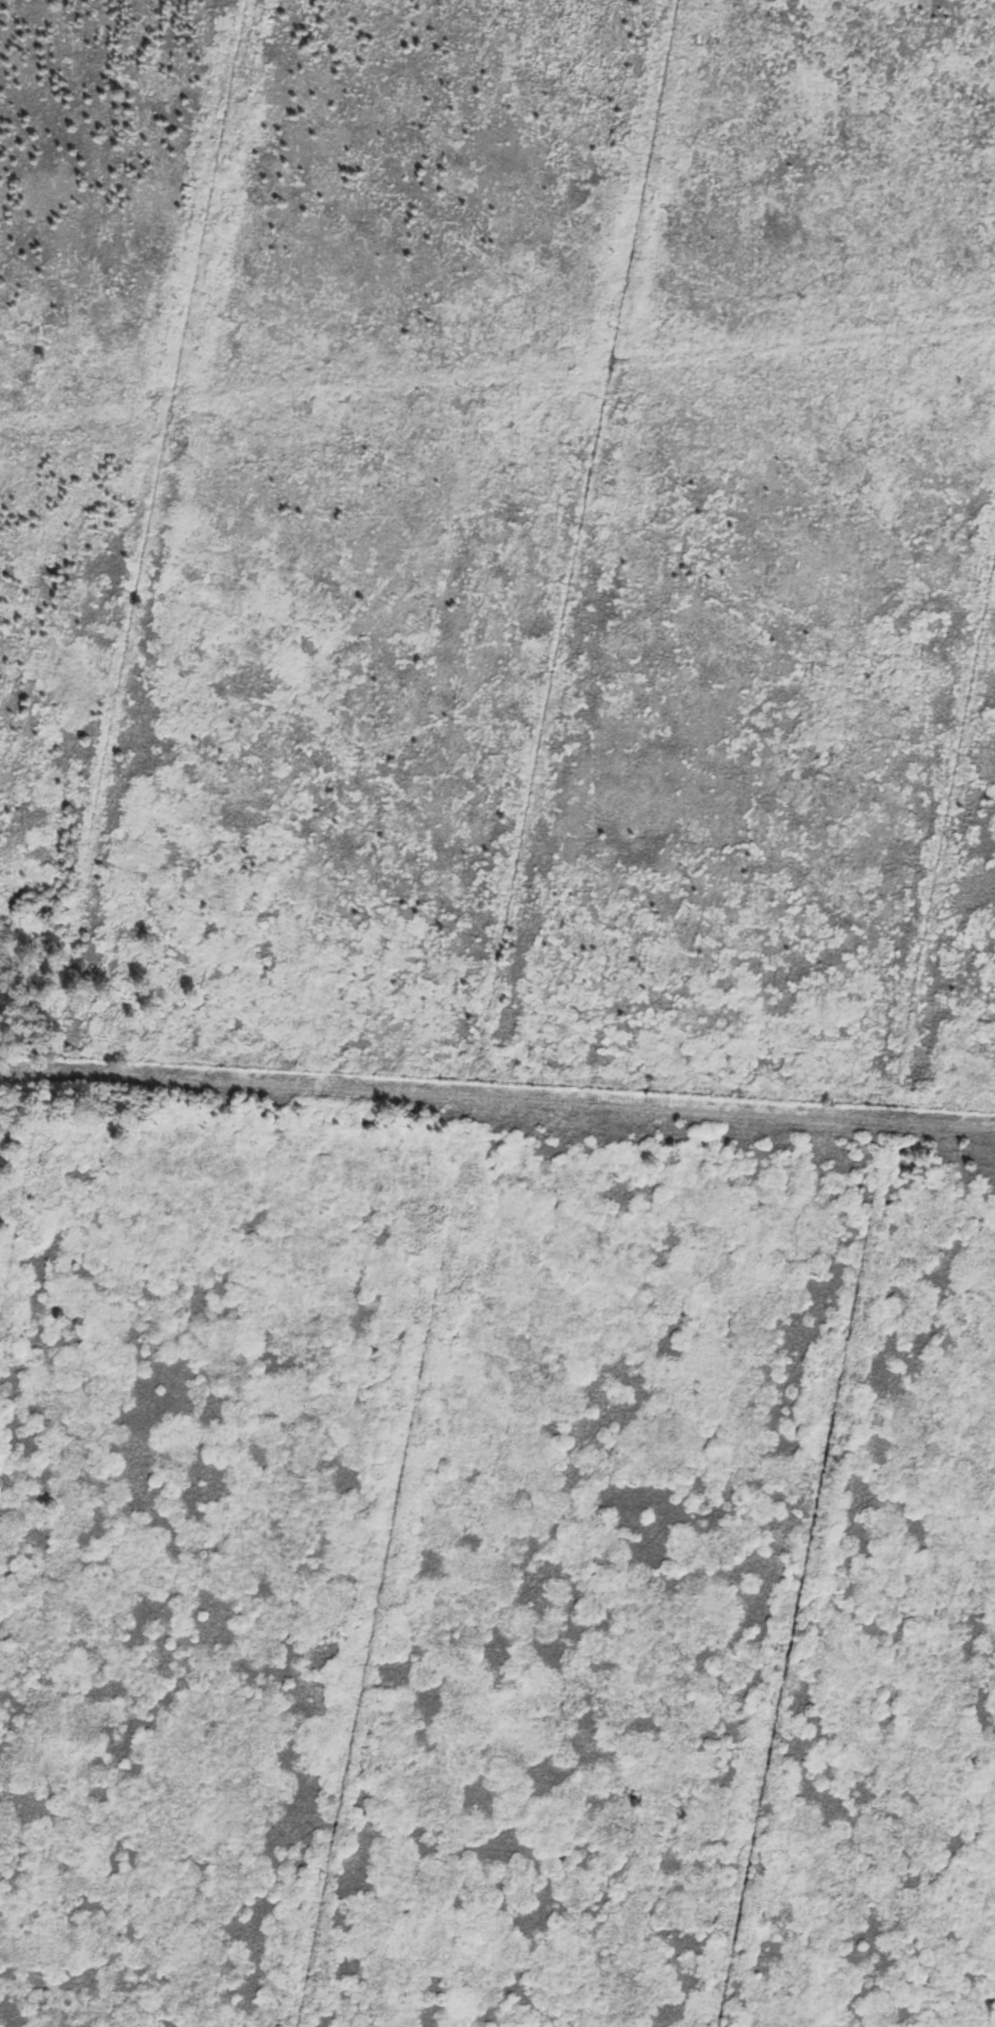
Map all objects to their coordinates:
road: (497, 1095)

